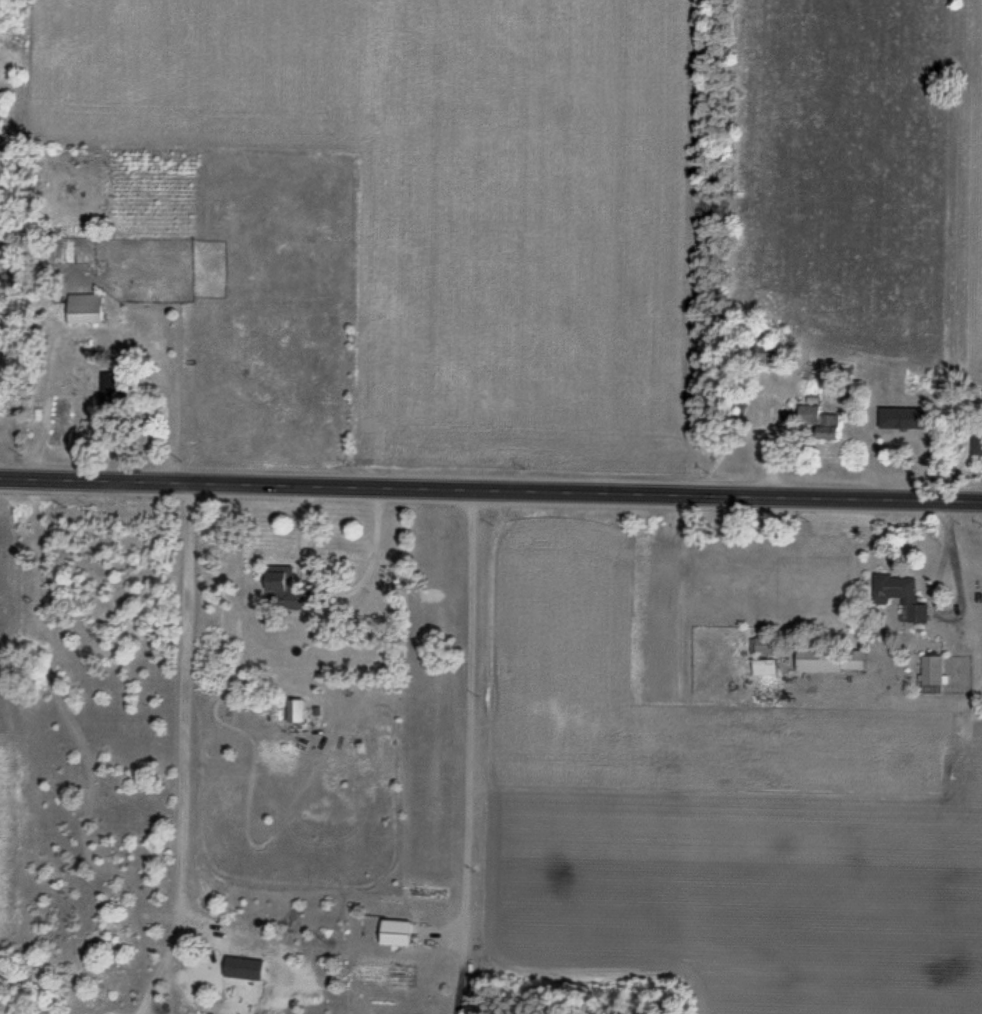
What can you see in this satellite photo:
building: (85, 310)
building: (904, 419)
building: (819, 422)
building: (976, 440)
road: (1, 477)
road: (492, 488)
building: (894, 586)
building: (286, 593)
building: (830, 660)
building: (764, 667)
building: (932, 675)
building: (298, 711)
building: (398, 934)

